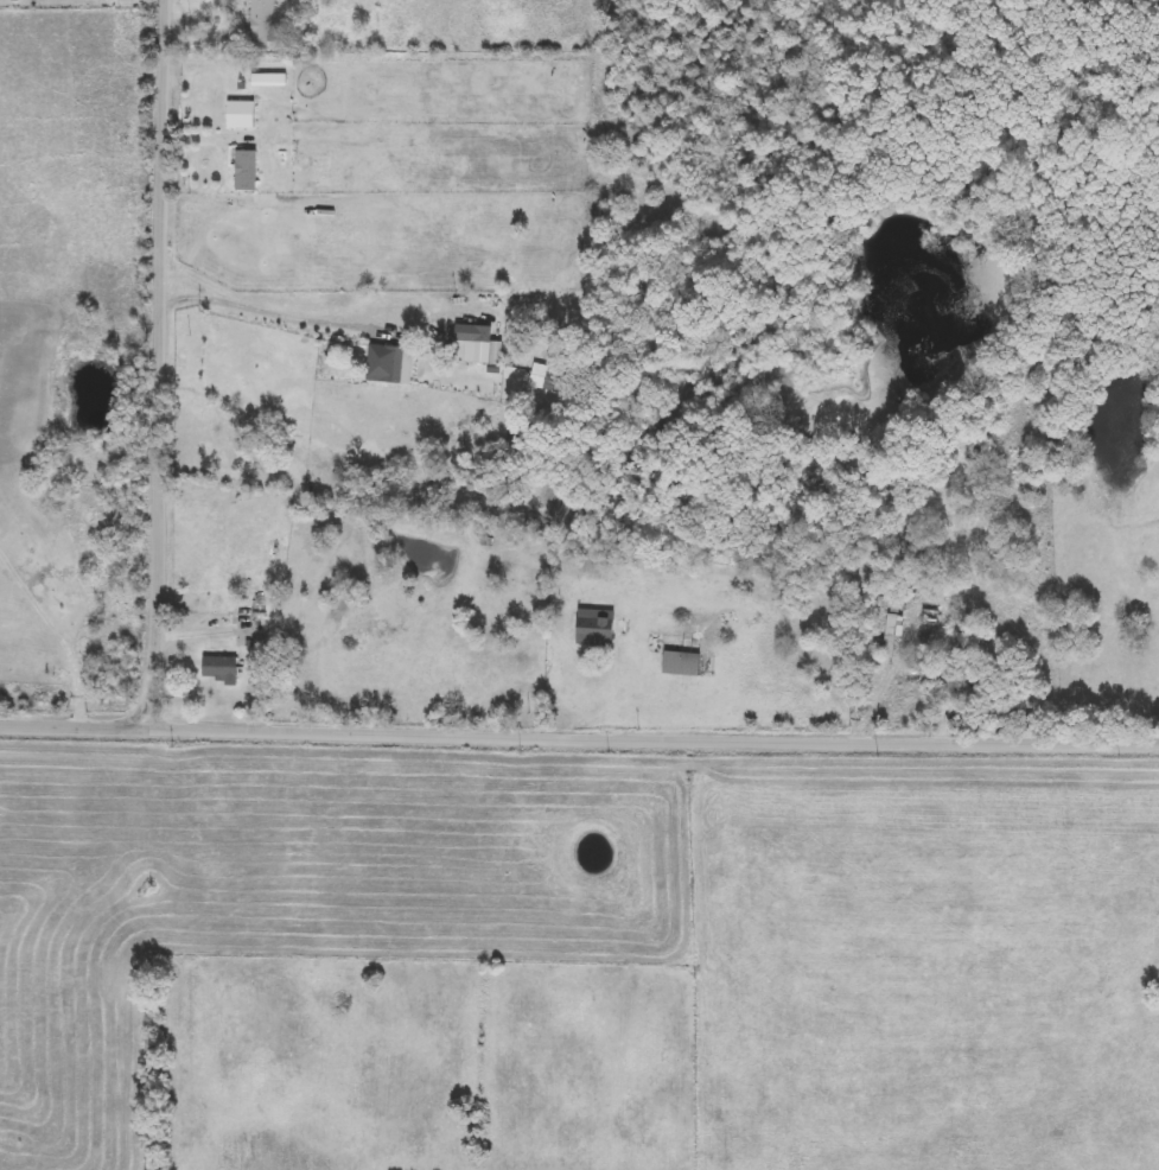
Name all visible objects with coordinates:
building: (263, 21)
road: (199, 25)
building: (268, 81)
building: (246, 171)
road: (257, 306)
road: (163, 360)
building: (393, 364)
building: (887, 602)
road: (57, 625)
building: (929, 625)
building: (599, 634)
building: (887, 638)
building: (682, 655)
building: (219, 668)
road: (890, 683)
road: (579, 730)

